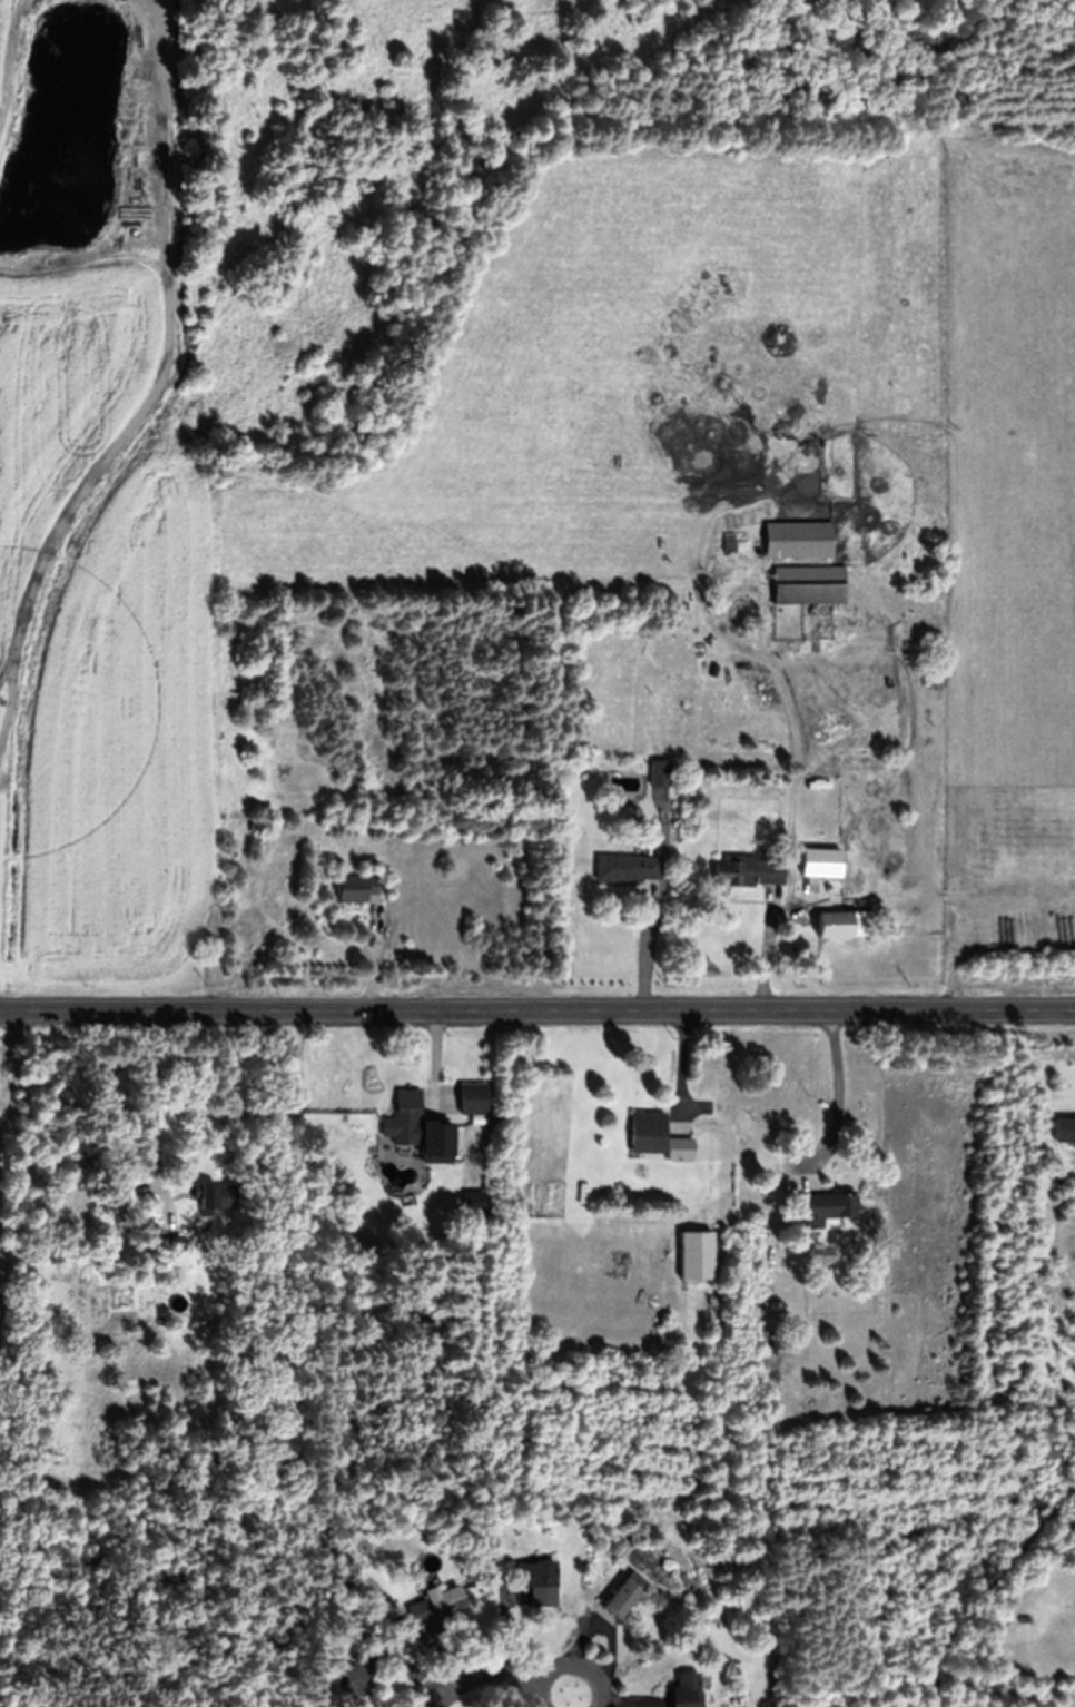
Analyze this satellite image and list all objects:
crop: (6, 29)
crop: (537, 486)
building: (797, 539)
building: (734, 545)
building: (808, 583)
building: (585, 766)
building: (659, 772)
building: (353, 785)
building: (418, 790)
building: (818, 862)
building: (832, 862)
building: (627, 867)
building: (748, 869)
building: (356, 886)
building: (835, 924)
road: (537, 1010)
building: (474, 1098)
building: (413, 1124)
building: (1063, 1128)
building: (647, 1134)
building: (679, 1148)
building: (207, 1196)
building: (826, 1206)
building: (164, 1240)
building: (699, 1252)
building: (181, 1281)
building: (765, 1286)
building: (772, 1348)
building: (483, 1502)
building: (614, 1543)
building: (684, 1578)
building: (537, 1580)
building: (621, 1596)
building: (431, 1607)
road: (585, 1665)
building: (359, 1666)
road: (479, 1676)
building: (686, 1690)
road: (539, 1691)

